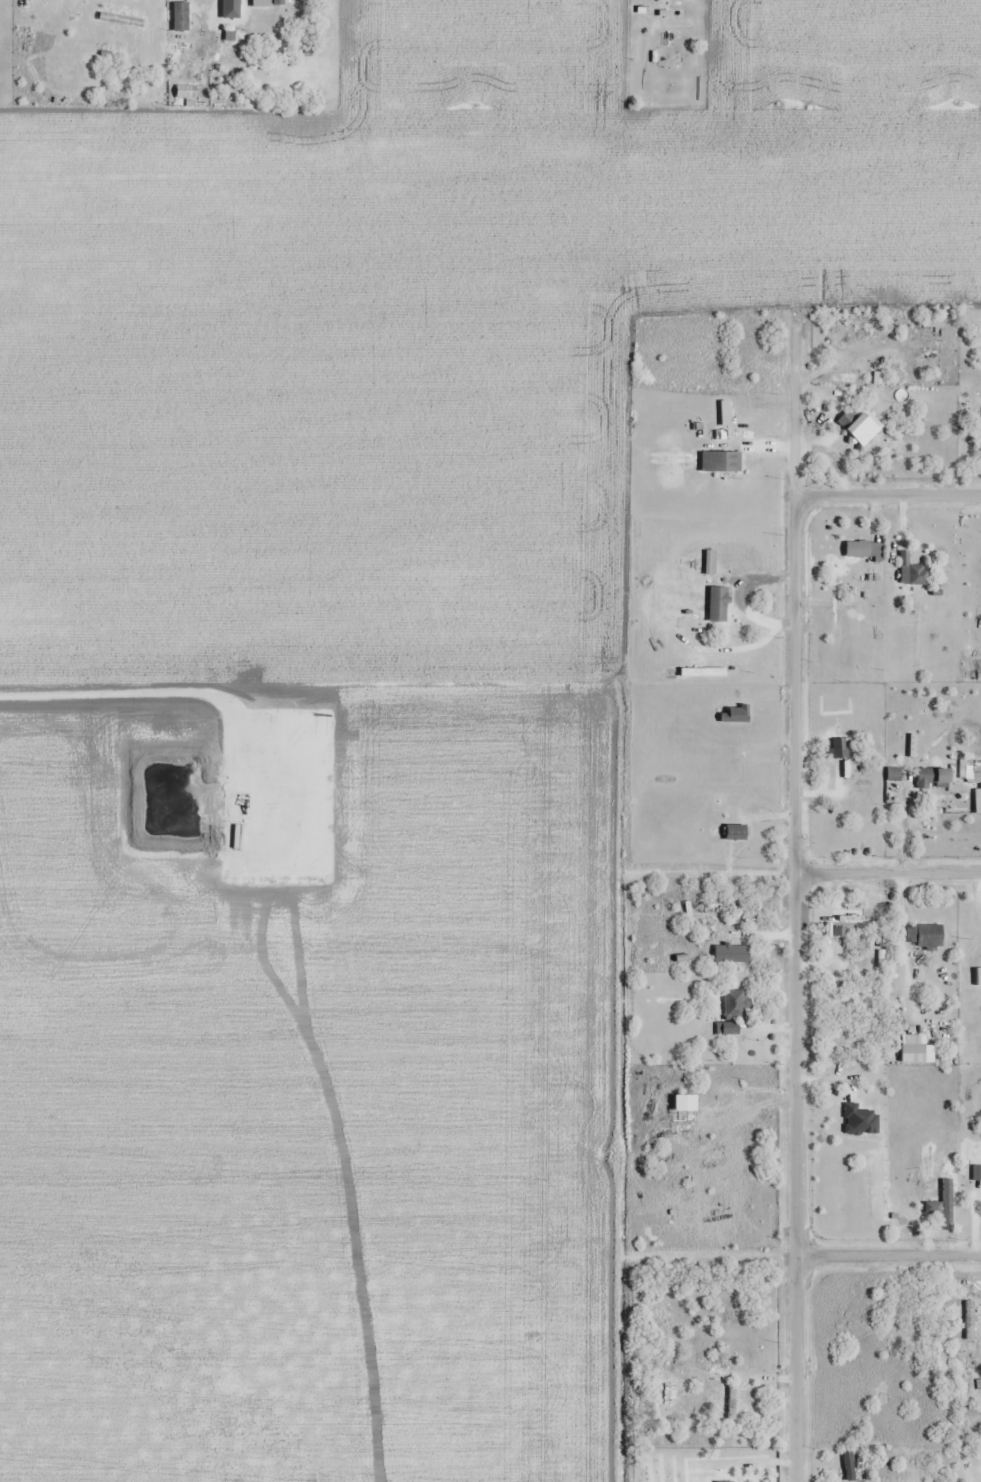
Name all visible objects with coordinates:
building: (278, 2)
building: (229, 9)
building: (176, 16)
building: (668, 42)
building: (185, 92)
building: (860, 425)
building: (720, 462)
road: (888, 495)
building: (863, 550)
building: (912, 572)
building: (717, 605)
building: (839, 748)
building: (894, 774)
building: (933, 778)
building: (978, 800)
building: (735, 832)
road: (888, 871)
building: (718, 908)
road: (795, 911)
building: (848, 922)
building: (924, 936)
building: (979, 977)
building: (732, 1011)
building: (915, 1050)
building: (684, 1109)
building: (977, 1174)
building: (946, 1201)
road: (888, 1256)
building: (673, 1319)
building: (969, 1320)
building: (731, 1402)
building: (848, 1466)
building: (725, 1481)

